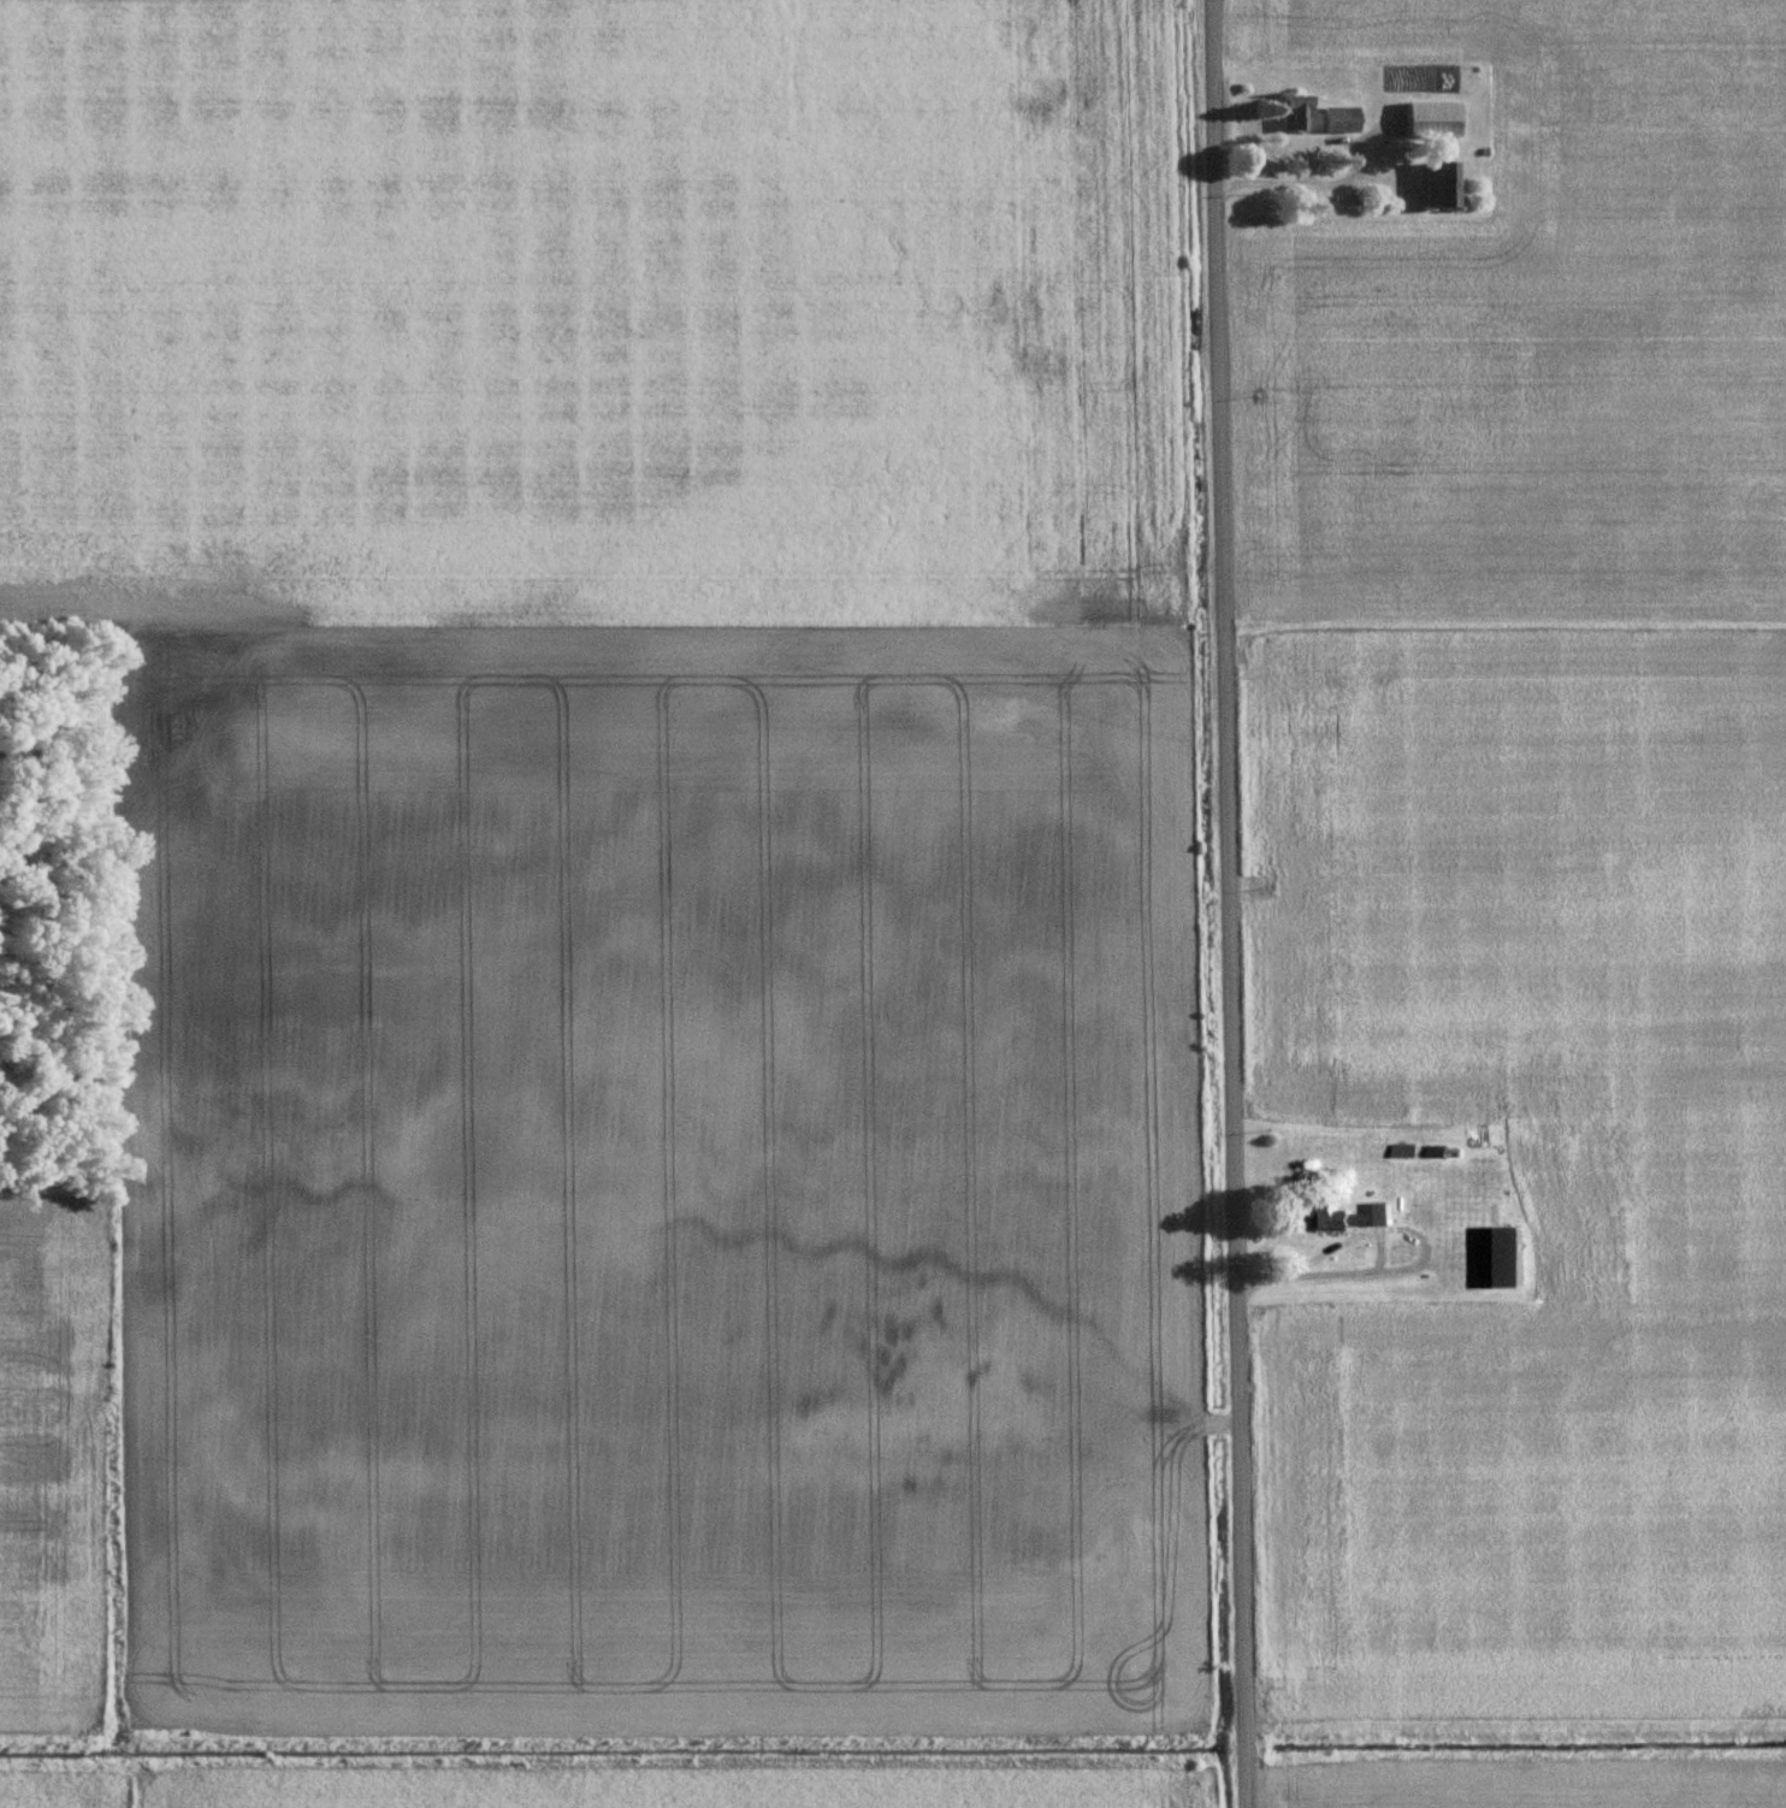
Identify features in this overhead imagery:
building: (1312, 117)
building: (1424, 119)
road: (1315, 153)
building: (1436, 185)
road: (1224, 904)
building: (1348, 1216)
building: (1502, 1257)
road: (1317, 1274)

